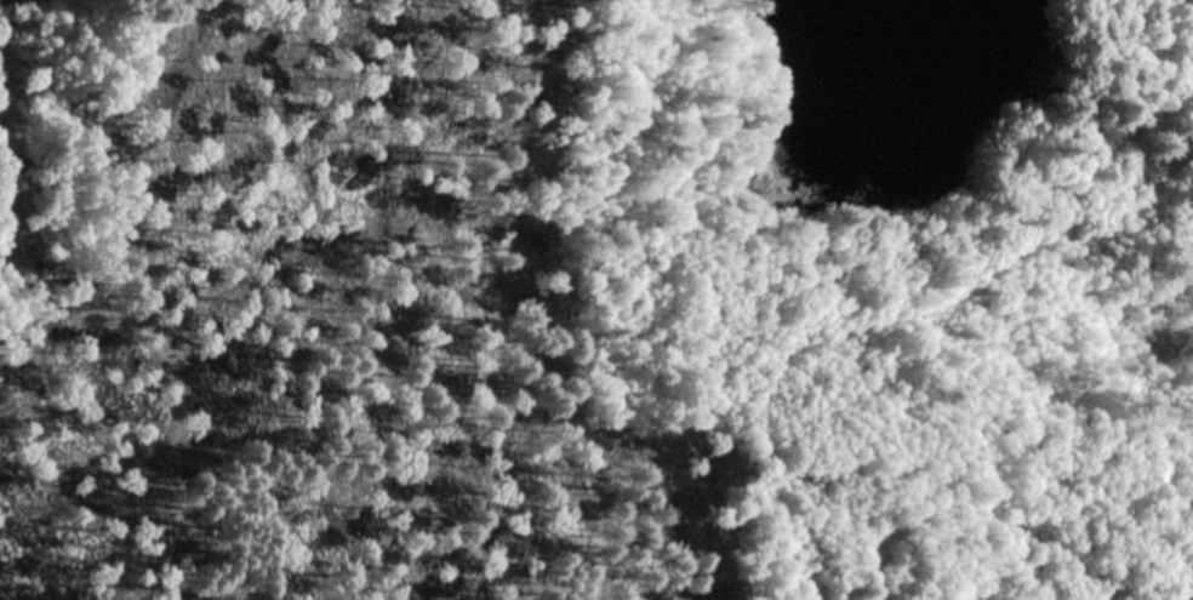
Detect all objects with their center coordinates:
quarry: (935, 269)

